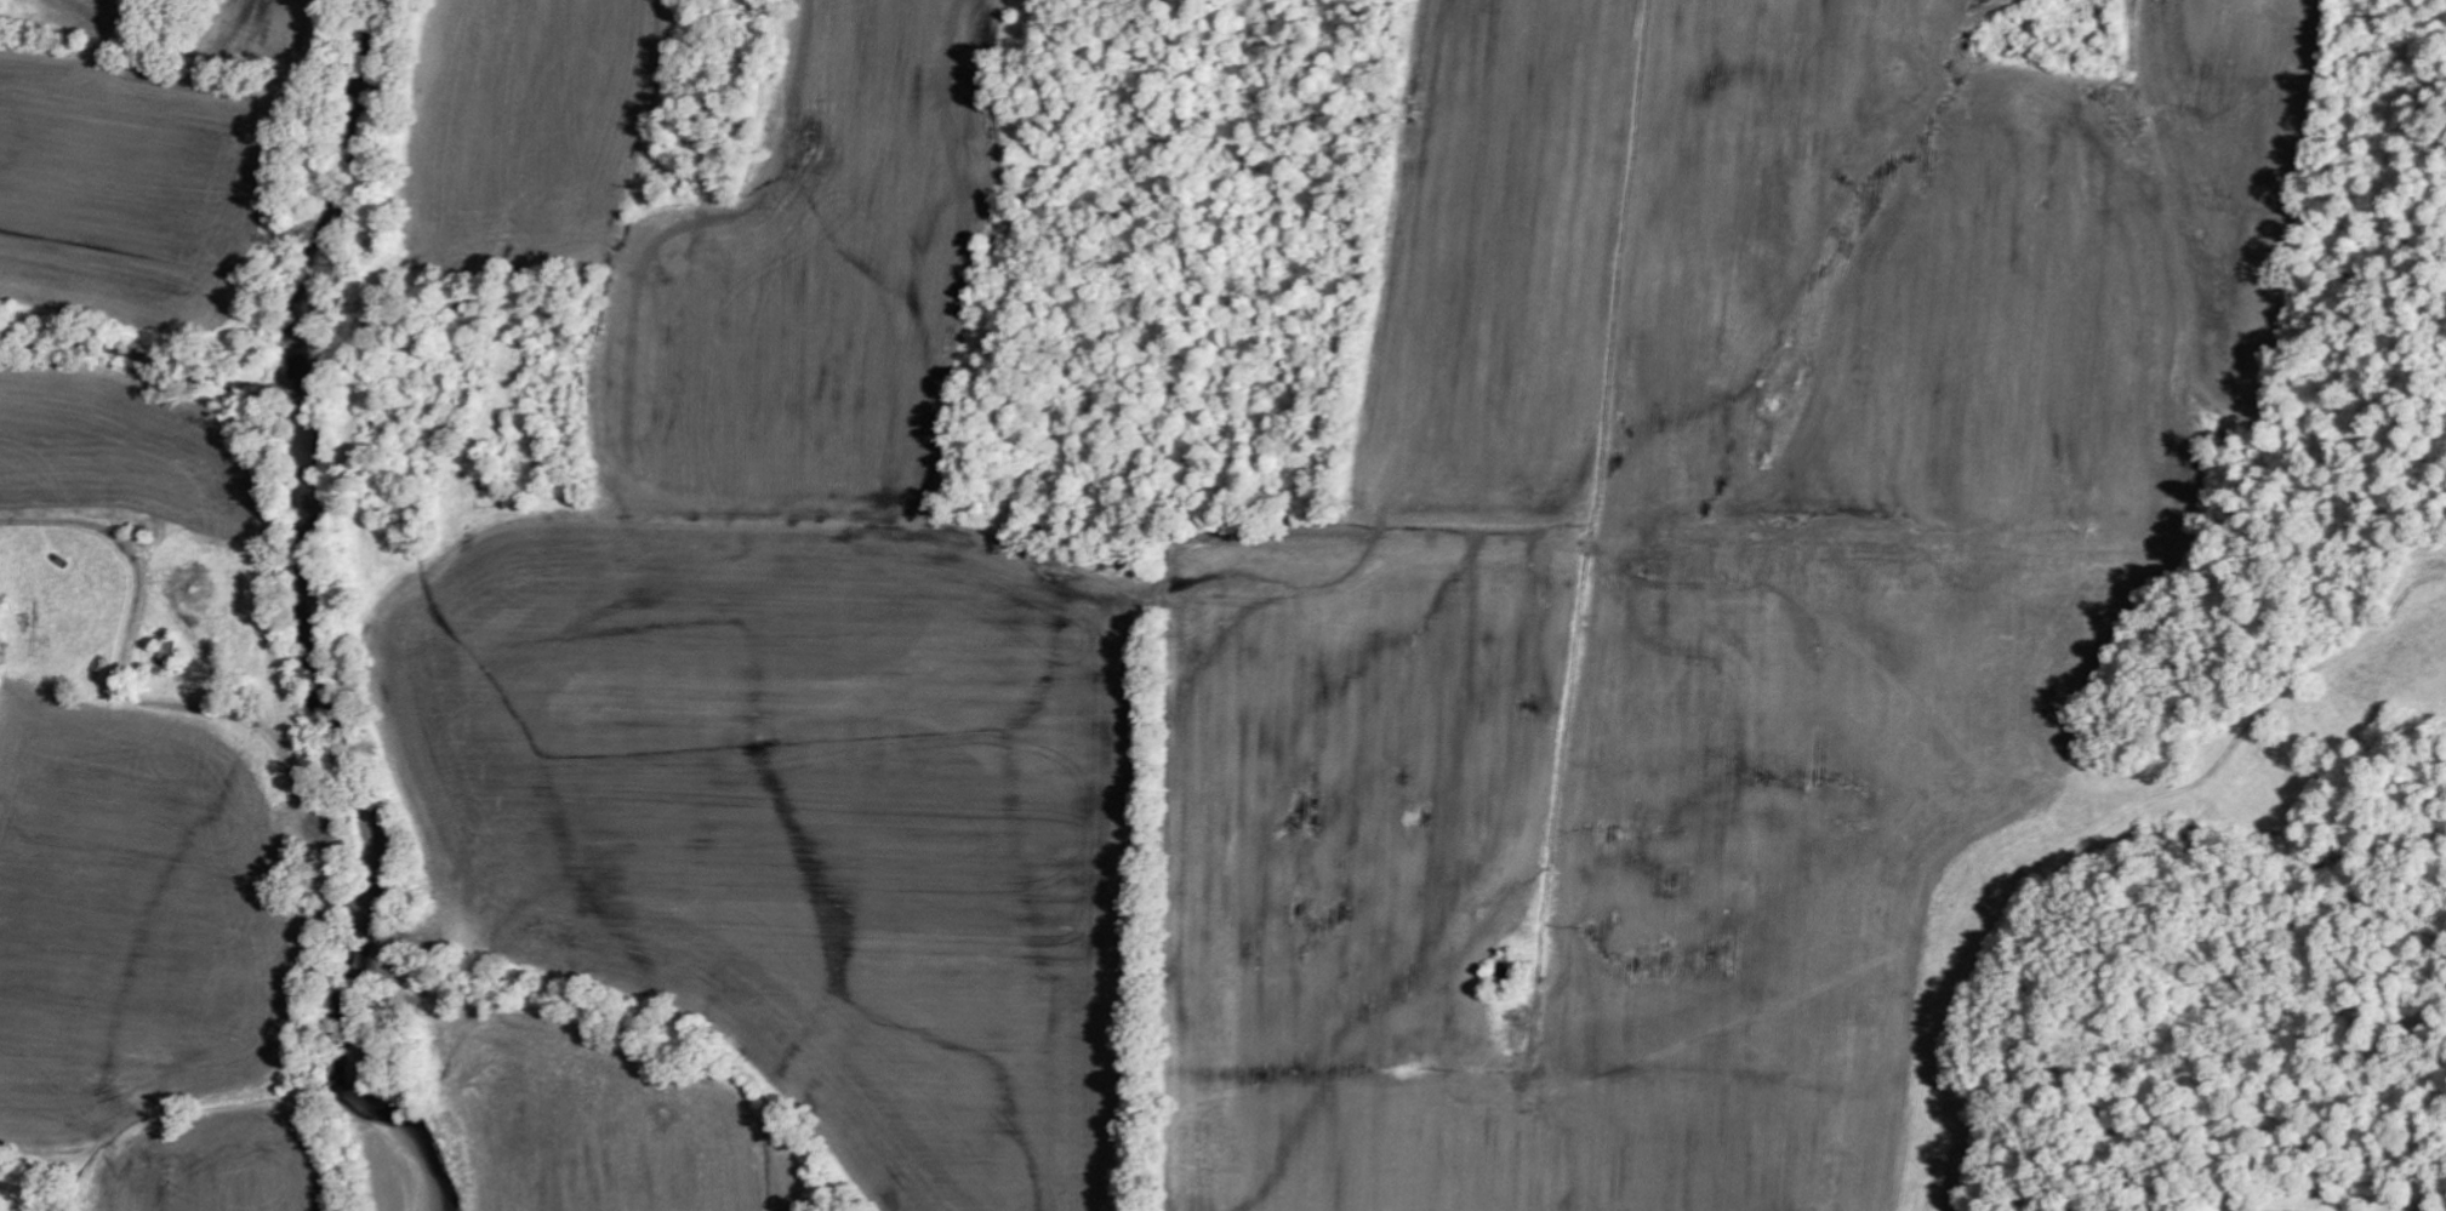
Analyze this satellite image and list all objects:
road: (109, 459)

